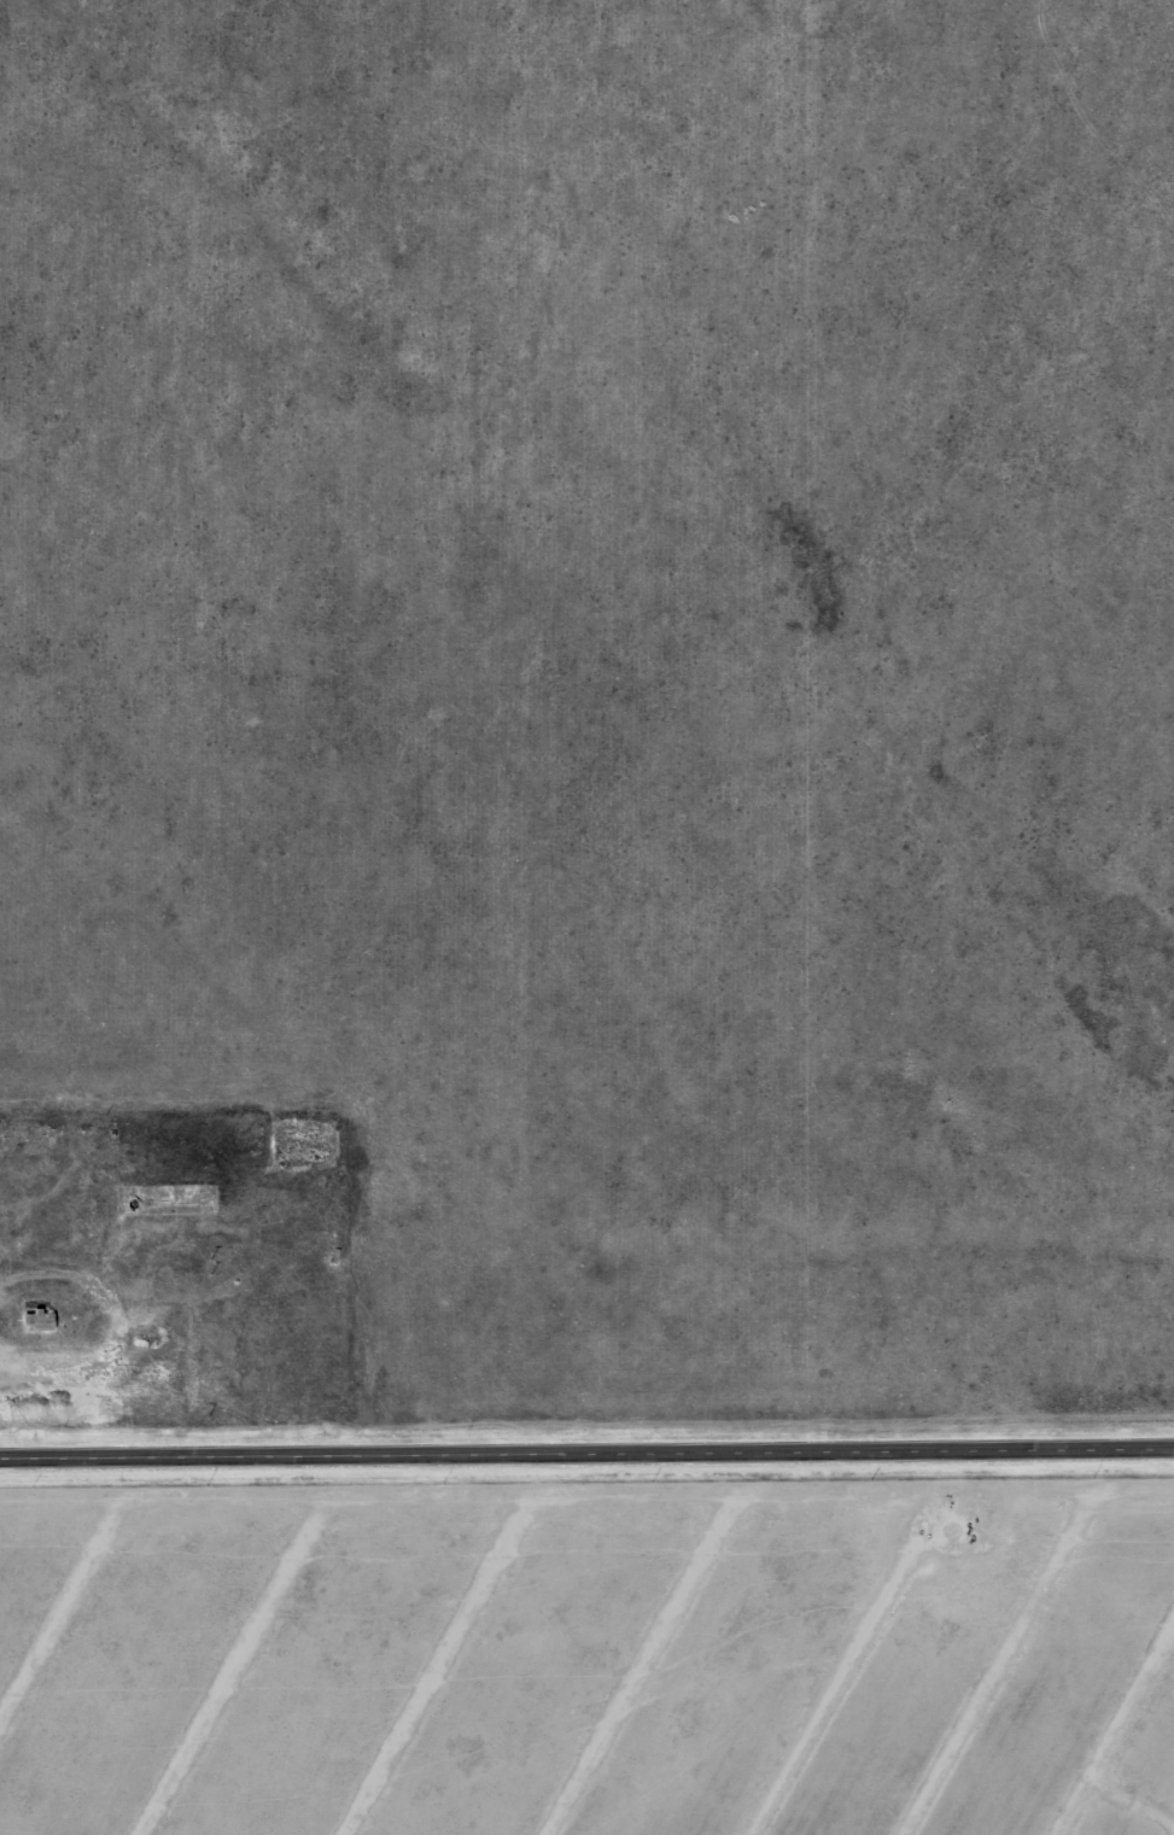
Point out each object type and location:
building: (35, 1322)
road: (586, 1462)

